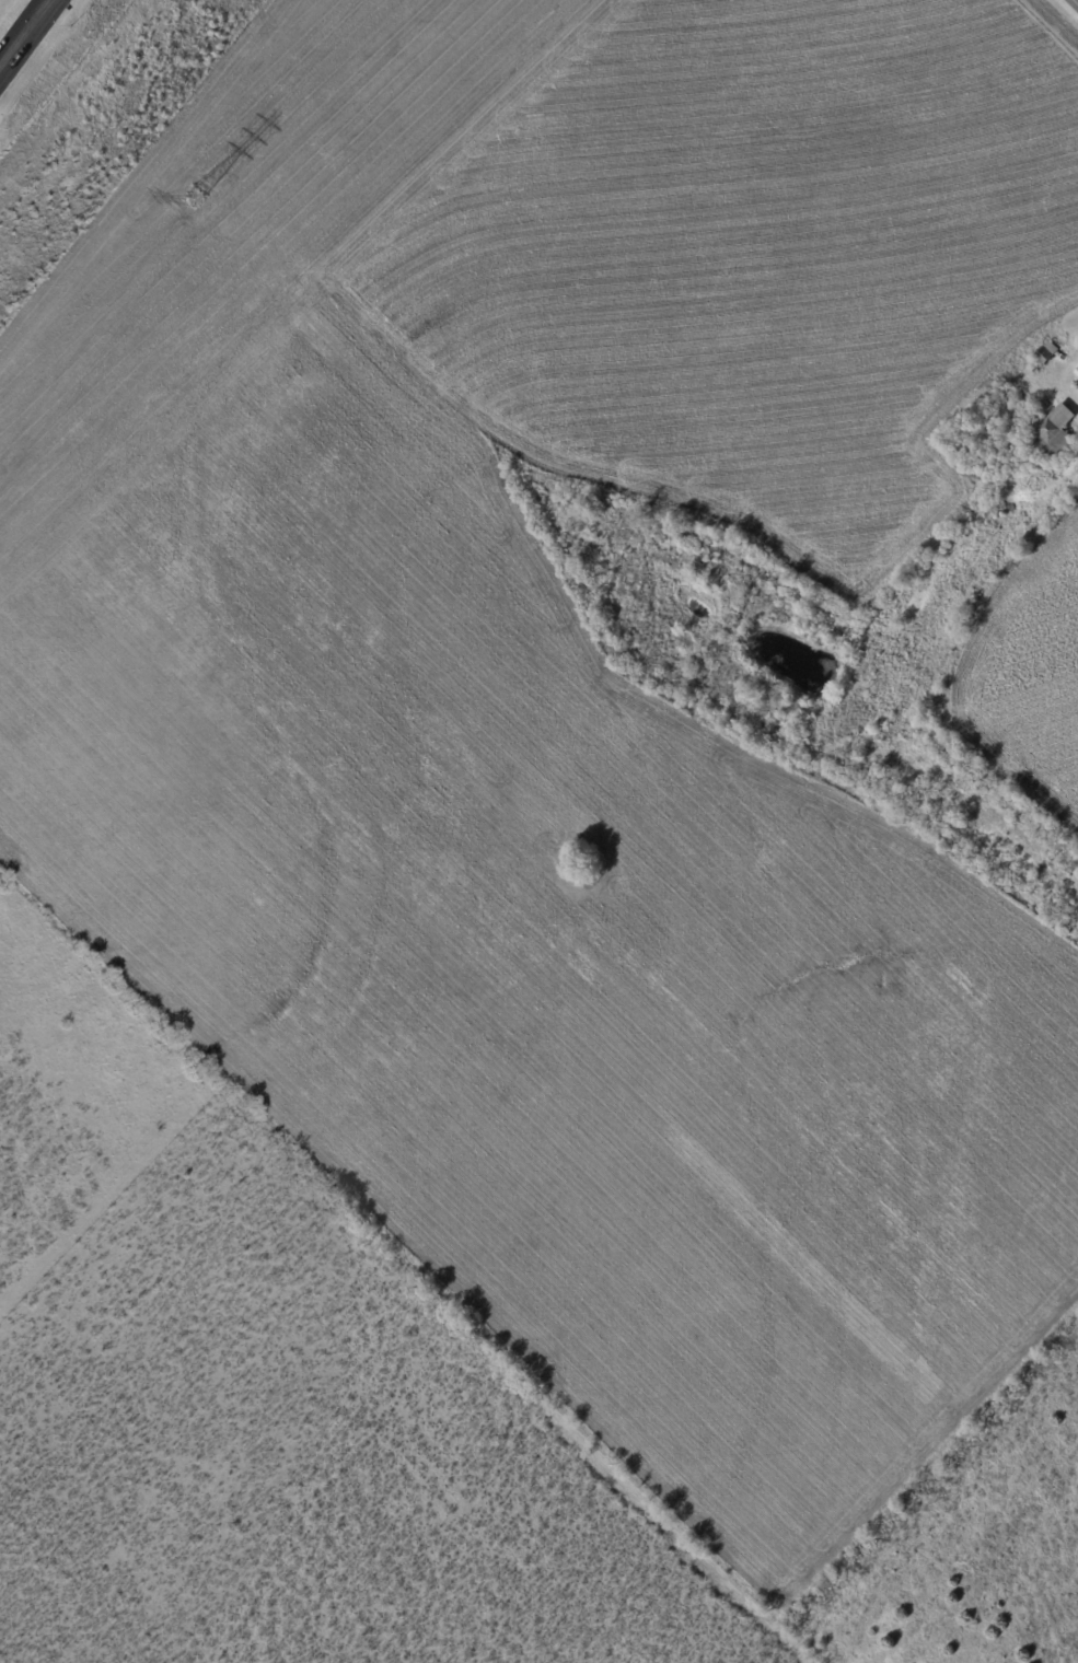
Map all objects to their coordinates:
road: (1071, 4)
road: (1068, 10)
road: (30, 24)
road: (7, 56)
power tower: (194, 195)
building: (1046, 353)
building: (1077, 373)
building: (966, 430)
building: (1054, 437)
building: (988, 465)

